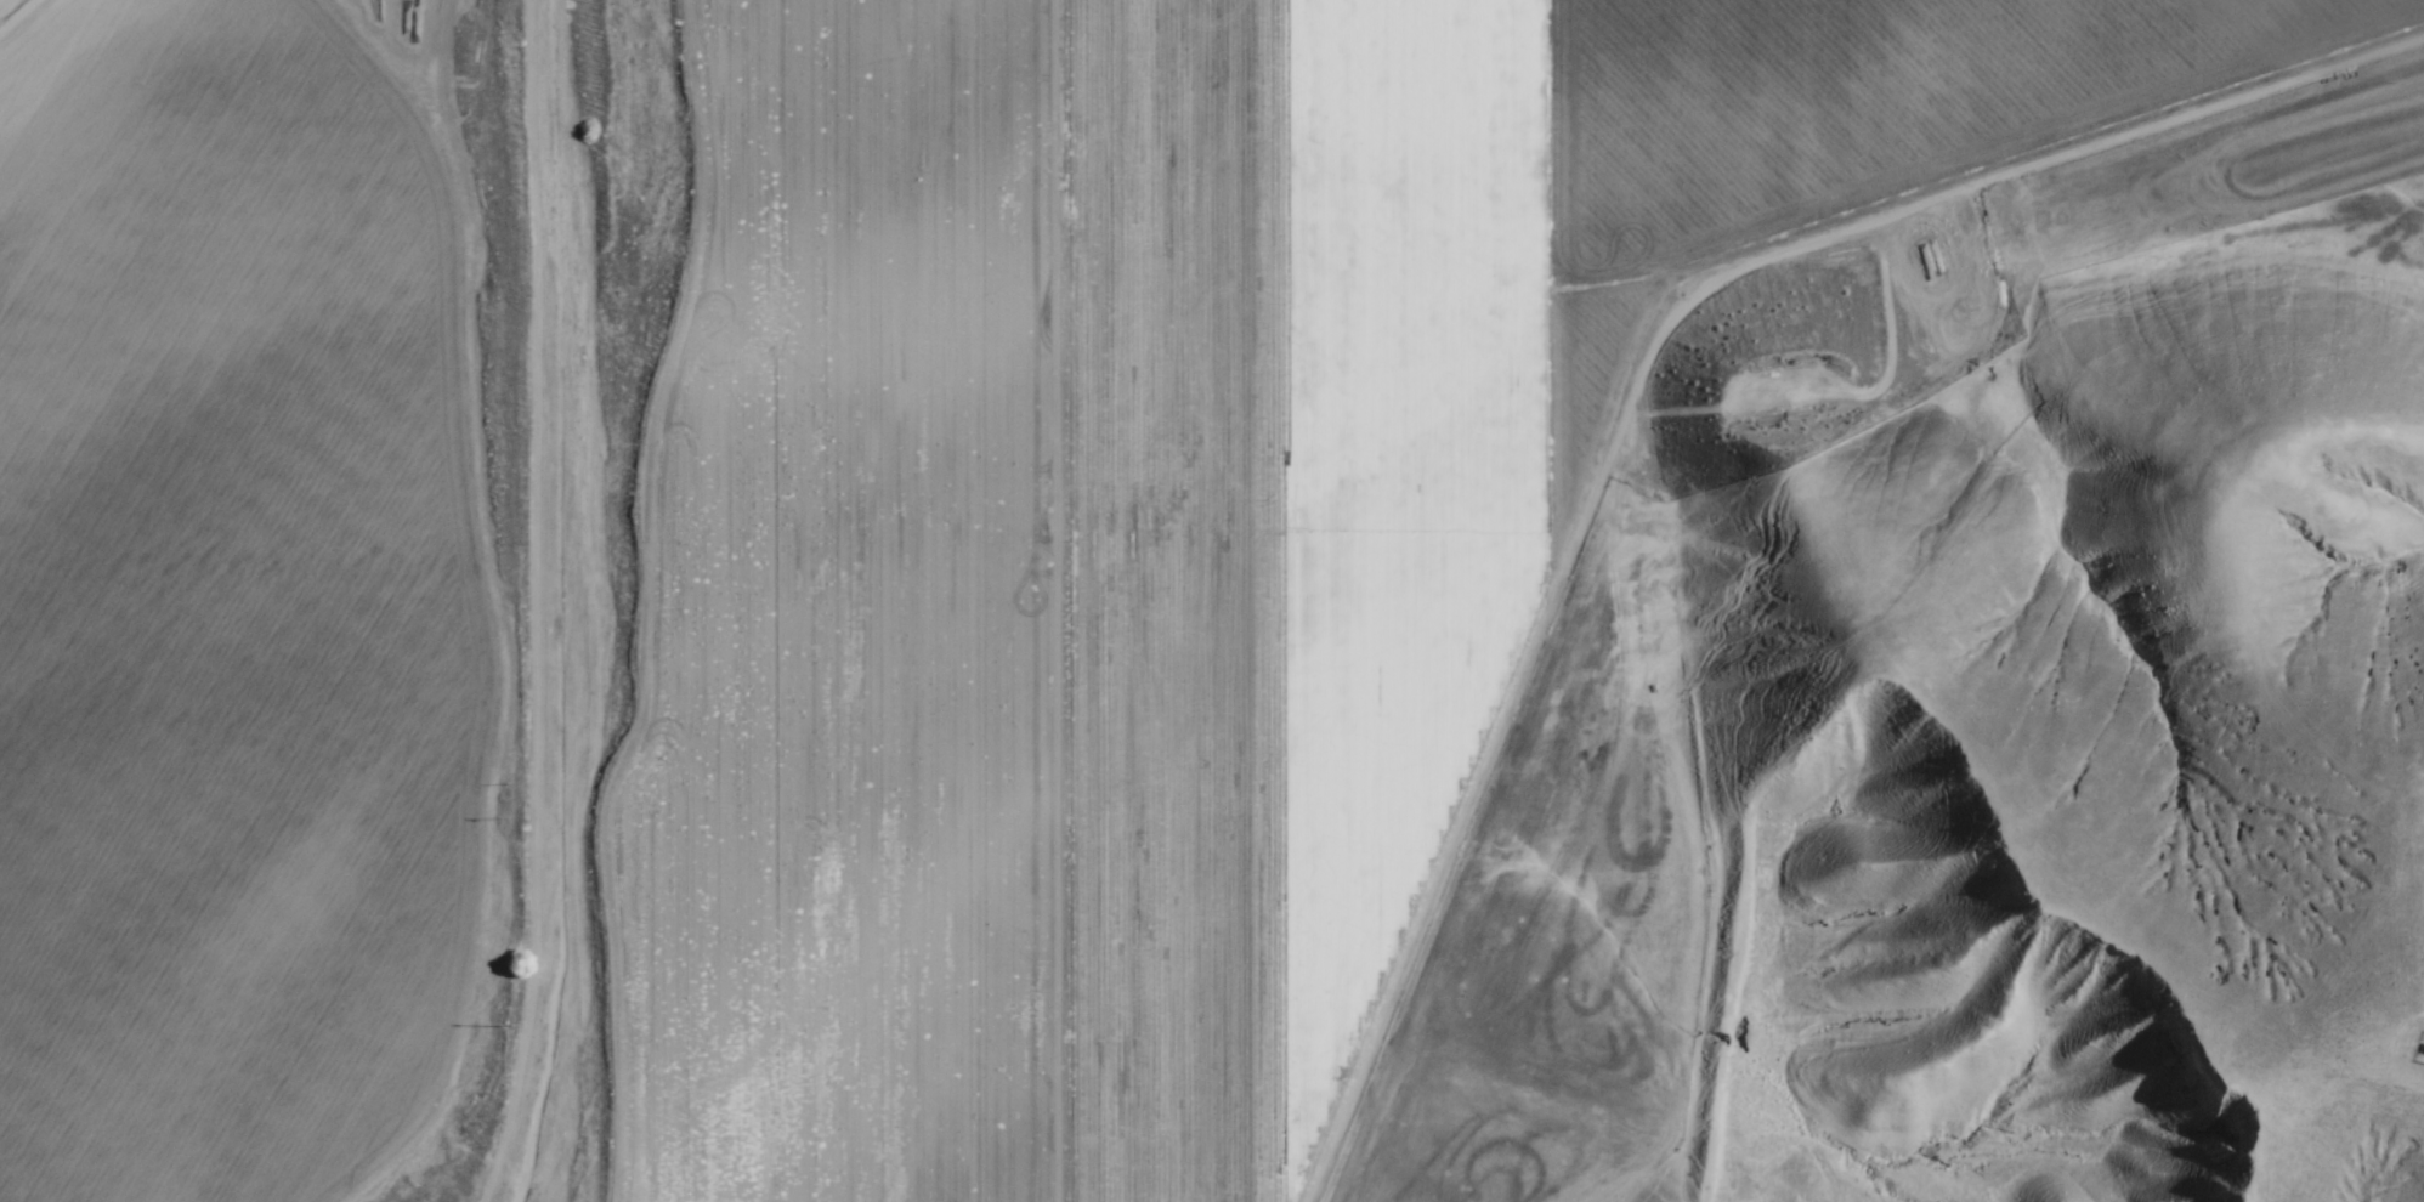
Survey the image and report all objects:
railway: (2224, 86)
railway: (2202, 96)
road: (1633, 380)
road: (429, 605)

